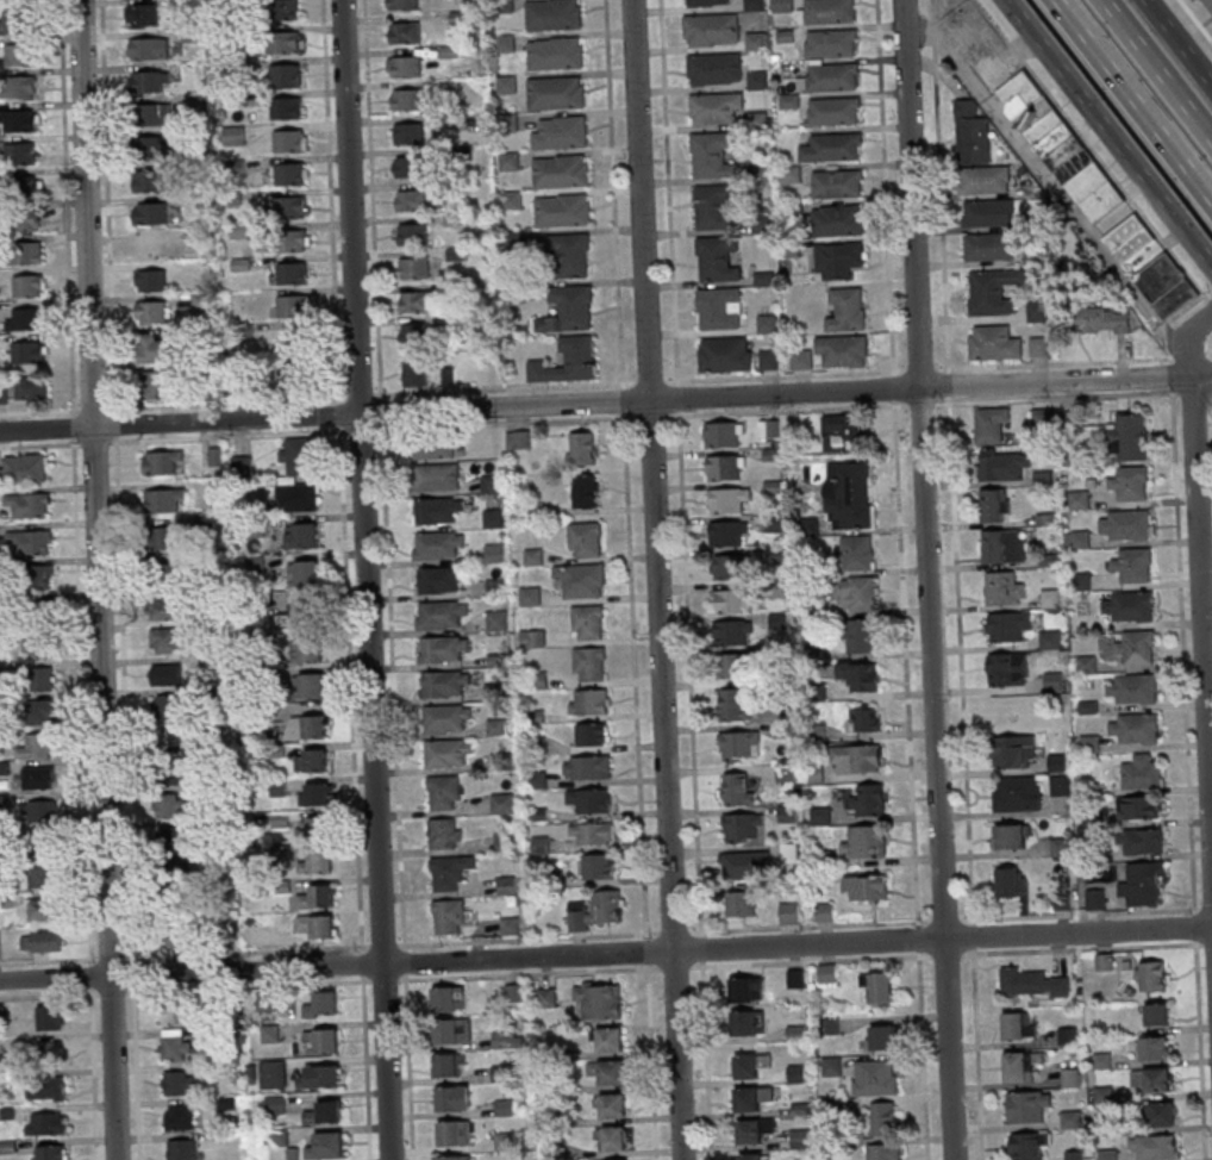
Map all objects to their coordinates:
building: (1210, 2)
building: (404, 4)
building: (706, 4)
building: (754, 6)
building: (782, 6)
building: (282, 10)
building: (829, 12)
building: (143, 14)
building: (555, 14)
road: (1195, 20)
building: (13, 21)
building: (711, 31)
building: (406, 32)
road: (1179, 40)
building: (282, 42)
building: (756, 43)
building: (831, 44)
building: (149, 48)
building: (556, 54)
building: (20, 55)
building: (405, 66)
building: (716, 69)
road: (1155, 73)
building: (285, 75)
building: (832, 77)
building: (150, 81)
building: (757, 81)
building: (18, 87)
building: (557, 93)
building: (408, 99)
road: (1131, 104)
building: (287, 107)
building: (714, 107)
building: (835, 112)
building: (152, 113)
building: (19, 119)
building: (561, 132)
building: (410, 133)
building: (972, 133)
road: (1108, 133)
building: (233, 135)
building: (290, 141)
building: (1058, 145)
building: (148, 146)
building: (833, 148)
road: (1092, 150)
building: (20, 152)
building: (712, 156)
building: (410, 167)
building: (562, 171)
building: (292, 174)
road: (1048, 179)
building: (983, 180)
building: (149, 181)
building: (838, 183)
building: (25, 188)
road: (613, 193)
road: (373, 198)
road: (331, 200)
building: (412, 200)
road: (108, 205)
road: (67, 206)
building: (290, 206)
building: (713, 207)
building: (563, 210)
building: (987, 212)
building: (150, 213)
building: (27, 220)
building: (838, 220)
building: (412, 233)
building: (1129, 238)
building: (293, 241)
building: (152, 247)
building: (989, 247)
building: (25, 252)
building: (571, 255)
building: (718, 260)
building: (838, 260)
building: (416, 268)
building: (288, 273)
building: (151, 280)
building: (29, 286)
building: (1166, 286)
building: (993, 291)
building: (416, 301)
road: (1210, 303)
building: (294, 305)
building: (719, 308)
building: (846, 308)
building: (569, 310)
building: (1037, 311)
building: (151, 312)
building: (26, 319)
building: (1099, 319)
building: (767, 324)
building: (413, 336)
road: (1188, 339)
building: (300, 342)
building: (994, 343)
building: (1038, 347)
building: (158, 349)
building: (843, 350)
building: (30, 351)
building: (725, 354)
building: (769, 358)
building: (801, 360)
building: (569, 361)
road: (1055, 362)
road: (918, 368)
building: (416, 373)
road: (1170, 373)
road: (782, 375)
building: (157, 381)
road: (648, 381)
road: (504, 387)
building: (31, 389)
road: (1194, 389)
road: (1201, 392)
road: (360, 395)
road: (1057, 397)
road: (623, 400)
road: (226, 403)
road: (606, 403)
road: (922, 404)
road: (94, 409)
road: (785, 409)
road: (381, 410)
road: (39, 411)
road: (341, 412)
road: (650, 416)
road: (502, 422)
road: (115, 424)
building: (992, 425)
road: (74, 426)
road: (360, 429)
building: (843, 432)
building: (724, 434)
road: (227, 435)
building: (1129, 436)
building: (519, 439)
road: (95, 442)
road: (40, 444)
building: (582, 448)
building: (433, 449)
building: (299, 456)
building: (161, 462)
building: (1004, 464)
building: (726, 467)
building: (24, 469)
building: (438, 476)
building: (491, 484)
building: (1130, 484)
building: (587, 491)
building: (849, 494)
building: (296, 498)
building: (729, 499)
building: (1077, 499)
building: (162, 500)
building: (995, 504)
building: (29, 505)
building: (436, 510)
building: (494, 518)
building: (774, 523)
building: (1125, 525)
building: (808, 526)
building: (729, 532)
building: (302, 536)
building: (171, 538)
building: (1077, 538)
building: (586, 540)
building: (30, 542)
building: (438, 544)
building: (1002, 545)
building: (495, 553)
building: (856, 553)
building: (1133, 565)
building: (731, 566)
building: (304, 574)
building: (171, 575)
building: (37, 576)
road: (96, 579)
building: (438, 579)
road: (656, 579)
road: (685, 579)
road: (364, 580)
road: (926, 580)
building: (582, 581)
building: (1081, 581)
building: (496, 586)
building: (1004, 588)
building: (860, 593)
building: (530, 597)
building: (1050, 597)
building: (732, 600)
building: (1127, 605)
building: (171, 609)
building: (39, 613)
building: (441, 613)
building: (302, 615)
building: (496, 620)
building: (588, 623)
building: (1007, 626)
road: (1200, 628)
building: (733, 632)
building: (861, 635)
building: (532, 640)
building: (1049, 640)
building: (167, 641)
building: (1136, 647)
building: (39, 648)
building: (442, 648)
road: (1181, 649)
building: (310, 650)
building: (589, 663)
building: (1086, 665)
building: (732, 666)
building: (1007, 669)
building: (165, 674)
building: (861, 674)
road: (633, 675)
building: (1054, 678)
building: (444, 682)
building: (312, 686)
road: (392, 686)
road: (351, 687)
building: (1131, 688)
road: (124, 697)
road: (82, 700)
building: (589, 701)
building: (732, 704)
building: (169, 706)
building: (1011, 709)
building: (42, 712)
building: (446, 718)
building: (864, 719)
building: (496, 725)
building: (306, 726)
building: (1136, 728)
building: (592, 735)
building: (1089, 742)
building: (739, 746)
building: (37, 747)
building: (1014, 750)
building: (446, 753)
building: (174, 756)
building: (856, 759)
building: (311, 760)
building: (1056, 762)
building: (587, 768)
building: (1139, 773)
building: (38, 778)
building: (1060, 785)
building: (737, 788)
building: (444, 792)
building: (1017, 793)
building: (316, 794)
building: (868, 799)
building: (591, 802)
building: (502, 803)
building: (169, 806)
building: (1138, 807)
building: (40, 812)
building: (743, 825)
building: (314, 829)
building: (445, 832)
building: (592, 834)
building: (1010, 835)
building: (173, 840)
building: (504, 841)
building: (1143, 841)
building: (864, 842)
building: (43, 847)
building: (788, 853)
building: (318, 862)
building: (748, 863)
building: (598, 866)
building: (449, 872)
building: (44, 877)
building: (1010, 881)
building: (1142, 884)
building: (507, 885)
building: (866, 887)
building: (318, 897)
building: (1094, 898)
building: (741, 904)
road: (1205, 909)
building: (43, 910)
building: (599, 911)
building: (788, 912)
building: (824, 912)
road: (1080, 913)
building: (449, 917)
road: (943, 919)
building: (319, 925)
road: (807, 925)
building: (510, 927)
road: (1194, 927)
road: (673, 931)
building: (177, 936)
road: (527, 938)
building: (40, 941)
road: (1207, 943)
road: (382, 944)
road: (1083, 948)
road: (246, 950)
road: (645, 950)
road: (605, 954)
road: (945, 954)
road: (112, 956)
road: (48, 959)
road: (404, 960)
road: (810, 960)
road: (362, 962)
road: (675, 966)
road: (133, 972)
road: (527, 973)
road: (90, 975)
building: (1152, 975)
road: (383, 979)
building: (1032, 983)
road: (248, 985)
building: (880, 987)
building: (745, 990)
road: (111, 991)
road: (46, 994)
building: (449, 999)
building: (599, 1000)
building: (323, 1005)
building: (174, 1012)
building: (1156, 1014)
building: (50, 1017)
building: (749, 1023)
building: (1018, 1025)
building: (452, 1030)
building: (883, 1037)
building: (610, 1040)
building: (321, 1041)
building: (1155, 1047)
building: (176, 1048)
road: (1199, 1049)
building: (49, 1052)
road: (651, 1062)
building: (449, 1065)
building: (749, 1065)
building: (1019, 1065)
road: (408, 1066)
building: (832, 1066)
road: (366, 1067)
road: (136, 1072)
building: (608, 1072)
building: (795, 1073)
road: (93, 1074)
building: (273, 1075)
building: (320, 1077)
building: (875, 1077)
building: (1070, 1078)
building: (1152, 1079)
building: (177, 1081)
building: (48, 1089)
building: (454, 1098)
building: (751, 1098)
building: (613, 1105)
building: (1027, 1106)
building: (326, 1112)
building: (1162, 1114)
building: (179, 1116)
building: (882, 1117)
building: (45, 1123)
building: (754, 1130)
building: (455, 1133)
building: (800, 1137)
building: (612, 1139)
building: (1027, 1145)
building: (327, 1146)
building: (1157, 1147)
building: (182, 1149)
building: (881, 1152)
building: (50, 1153)
building: (751, 1156)
building: (455, 1158)

